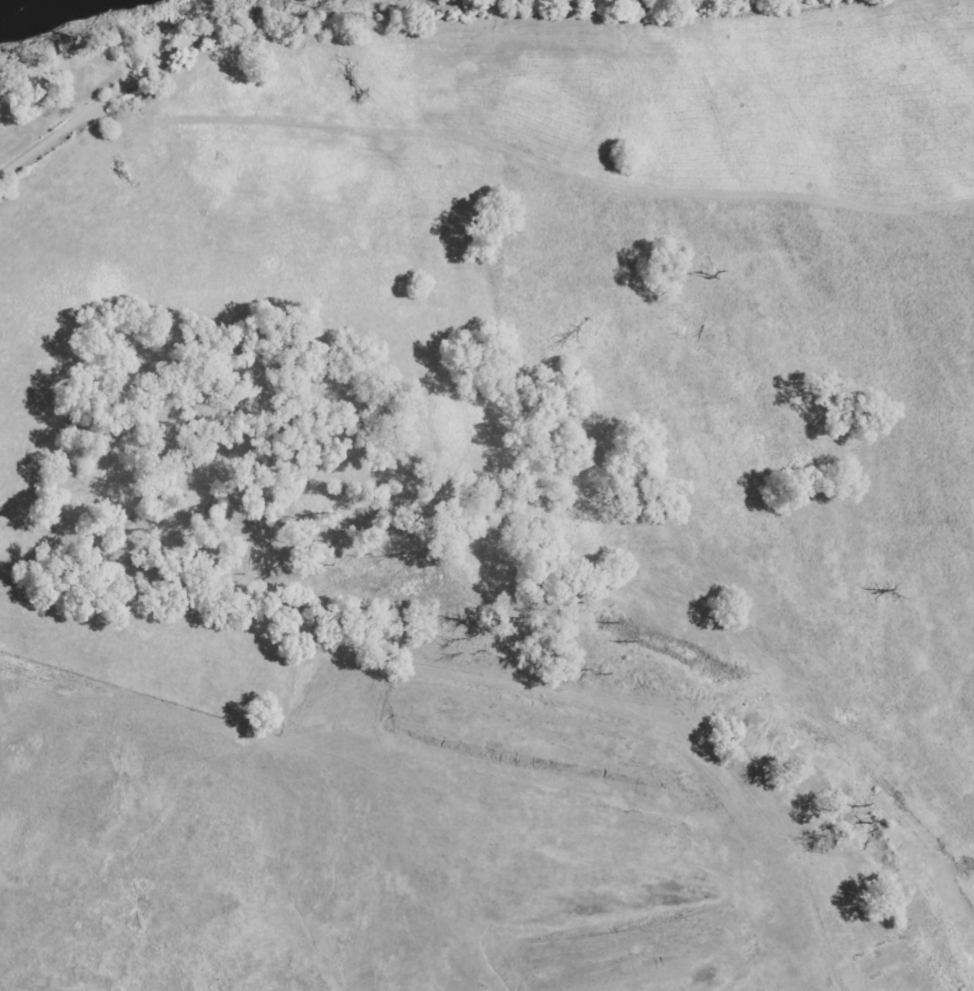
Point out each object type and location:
road: (524, 150)
road: (37, 157)

